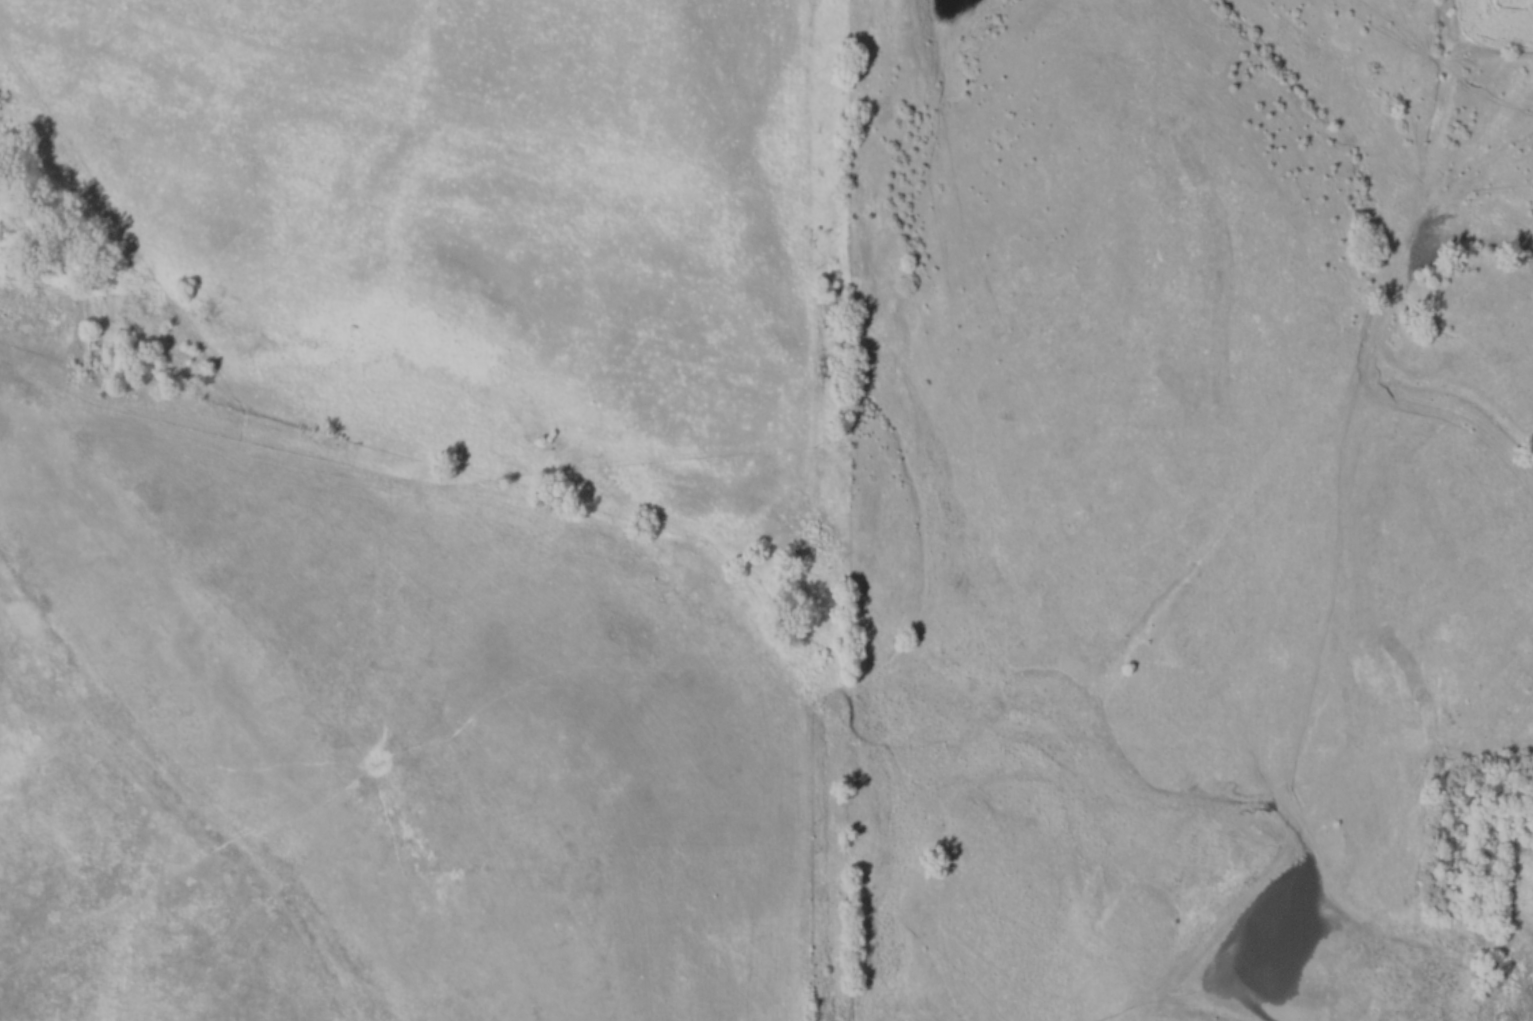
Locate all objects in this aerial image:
crop: (1498, 22)

